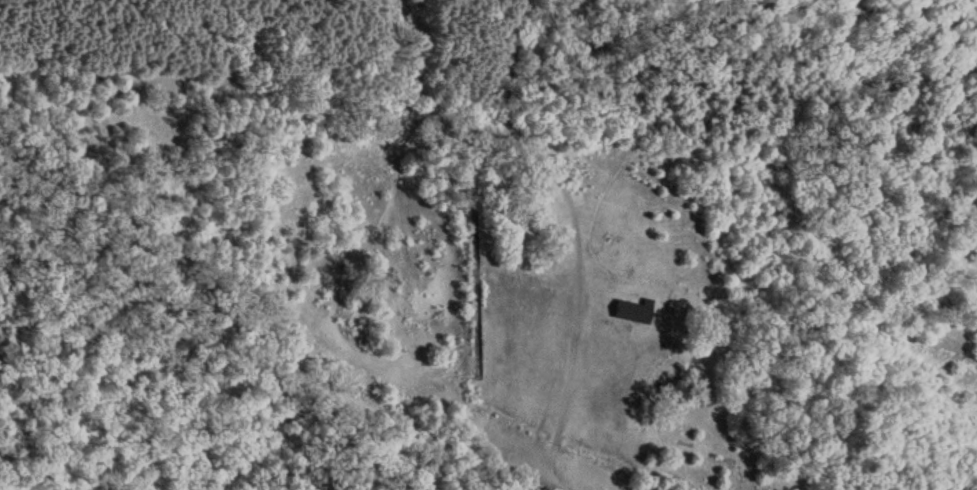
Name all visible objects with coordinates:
building: (632, 311)
road: (243, 326)
road: (563, 384)
road: (516, 474)
road: (553, 476)

